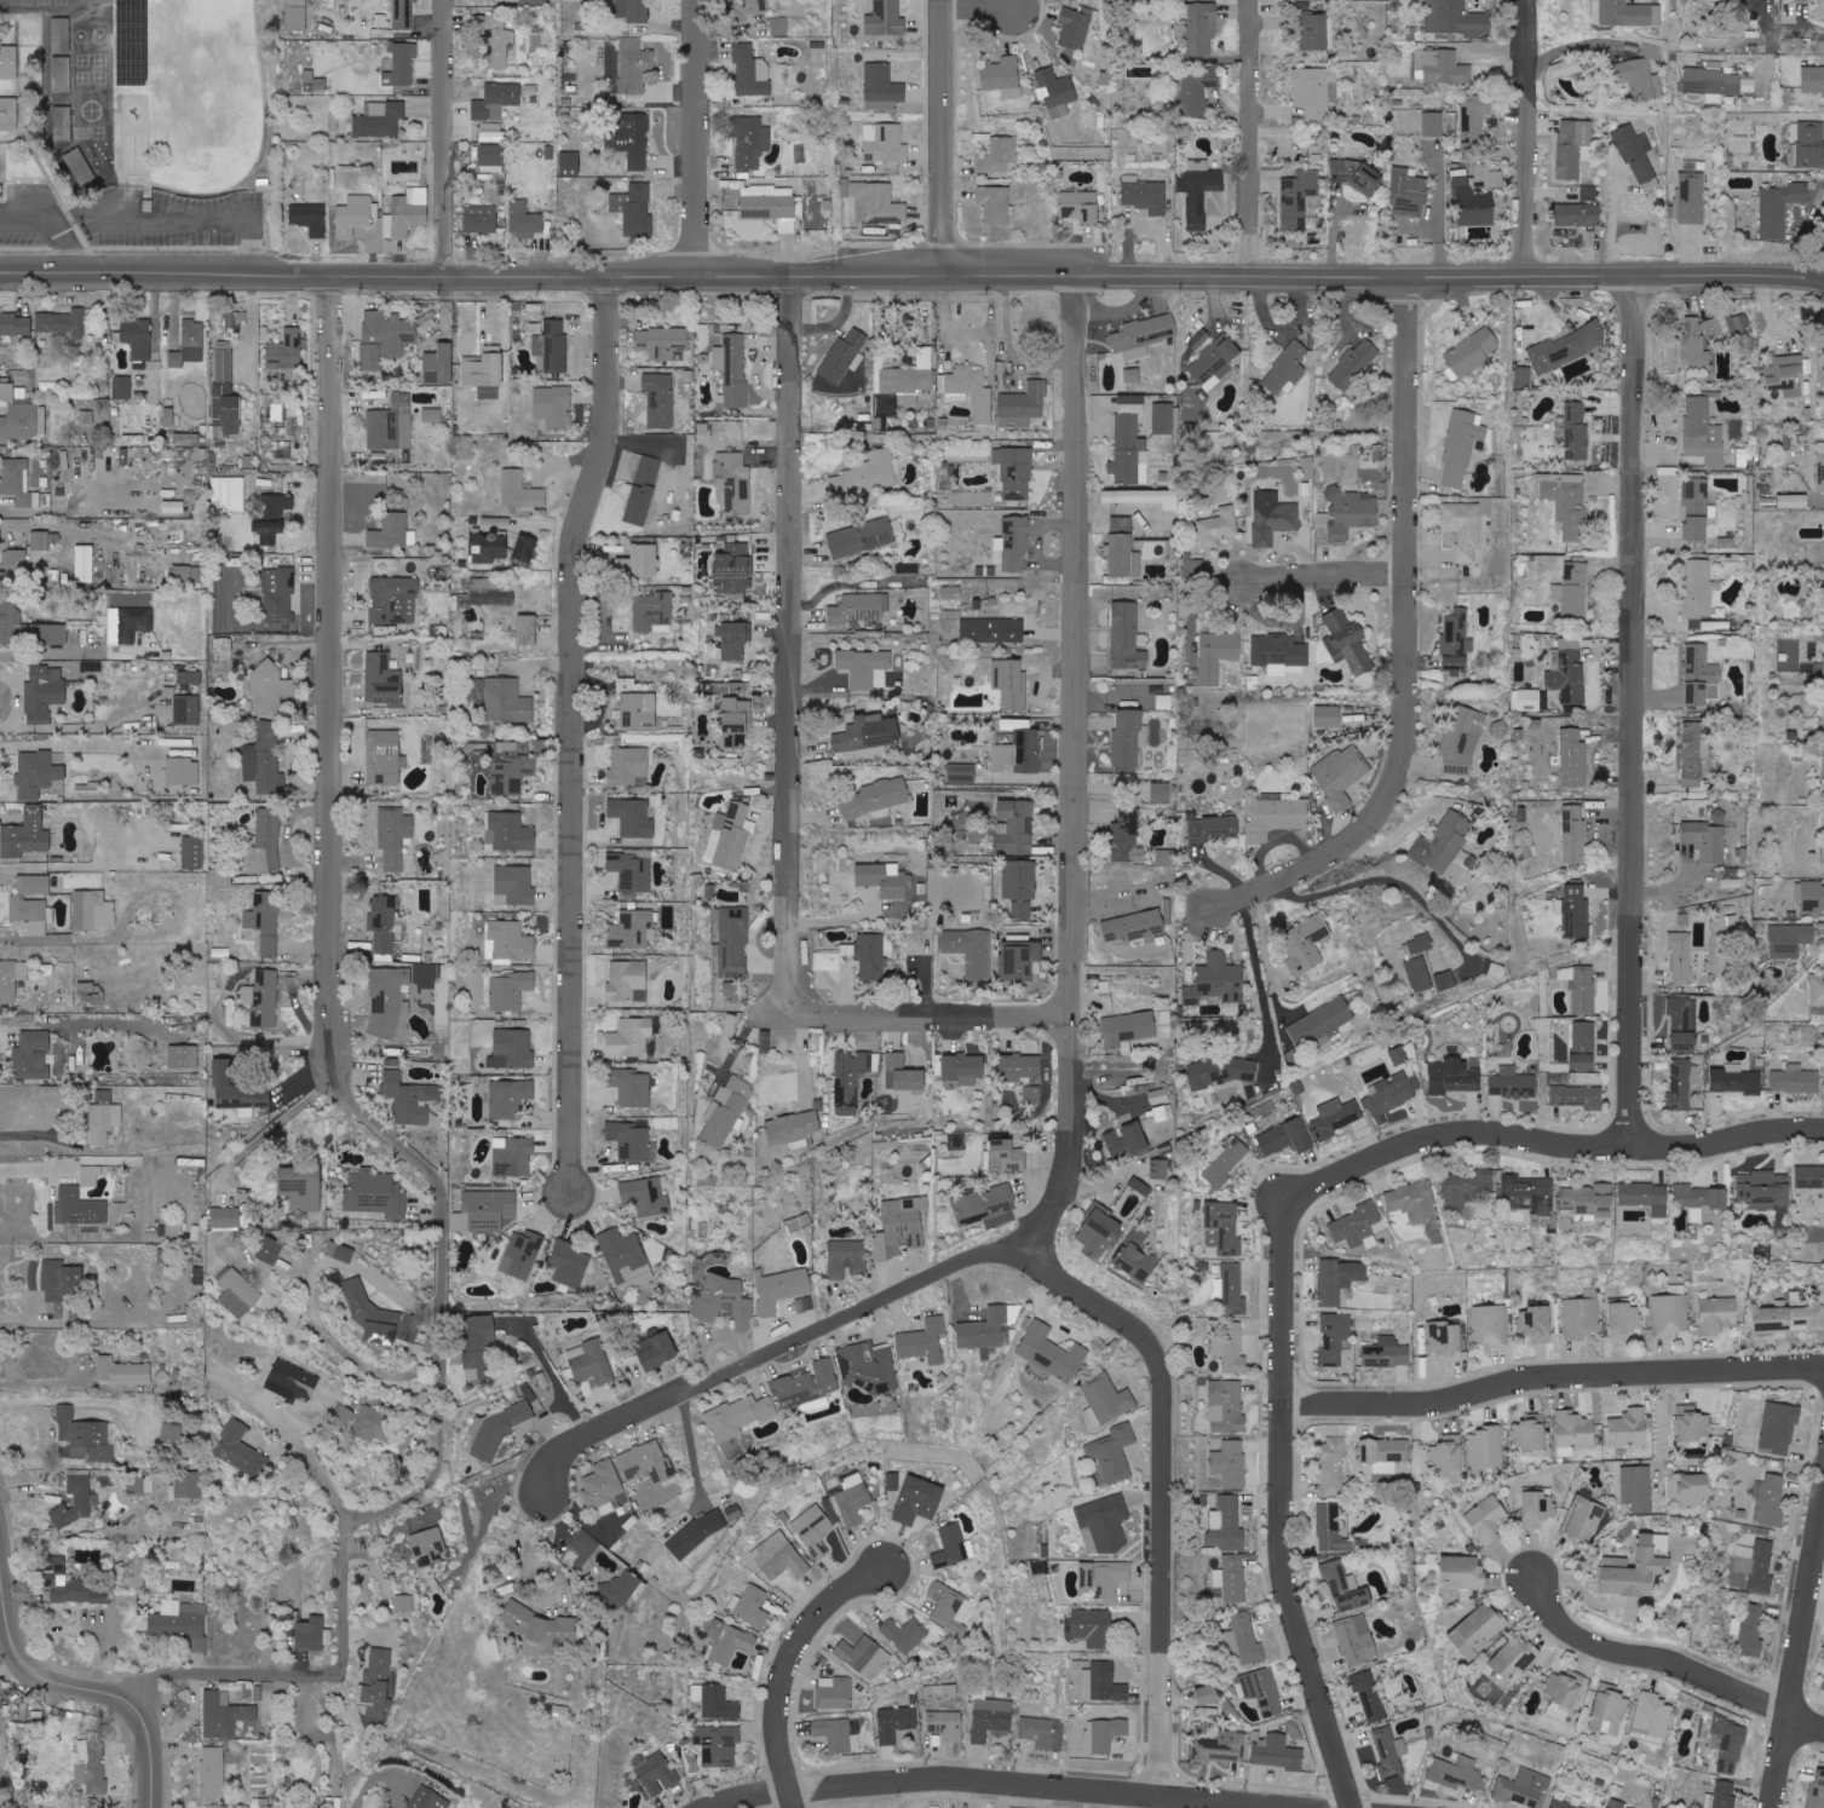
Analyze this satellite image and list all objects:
building: (511, 0)
building: (1737, 0)
building: (1805, 1)
building: (122, 2)
building: (754, 5)
building: (638, 10)
road: (980, 12)
building: (1629, 13)
building: (295, 15)
building: (403, 15)
building: (1455, 18)
building: (381, 21)
building: (886, 21)
building: (1076, 27)
building: (1201, 28)
building: (1314, 30)
building: (62, 34)
road: (1795, 35)
building: (500, 42)
building: (8, 62)
building: (402, 64)
building: (635, 65)
building: (1445, 68)
building: (1565, 68)
building: (749, 71)
building: (62, 75)
building: (1003, 77)
building: (1641, 77)
building: (1813, 80)
building: (1711, 82)
building: (313, 84)
building: (882, 87)
building: (1193, 91)
building: (1316, 91)
building: (1057, 92)
building: (496, 100)
building: (8, 113)
building: (380, 119)
building: (333, 121)
building: (1473, 121)
building: (1433, 123)
building: (63, 125)
road: (448, 137)
road: (692, 137)
road: (948, 137)
road: (1250, 137)
road: (1530, 138)
building: (752, 142)
building: (884, 143)
building: (1809, 143)
building: (1572, 146)
building: (634, 148)
building: (999, 155)
building: (1638, 157)
building: (491, 159)
building: (570, 163)
building: (80, 166)
building: (1354, 174)
building: (1199, 194)
building: (1408, 194)
building: (1145, 195)
building: (1589, 195)
building: (1692, 197)
building: (1297, 198)
building: (632, 202)
building: (876, 203)
building: (1473, 203)
building: (995, 205)
building: (1779, 205)
building: (770, 206)
building: (1081, 206)
building: (407, 213)
road: (178, 215)
building: (355, 215)
building: (1578, 215)
building: (310, 218)
building: (481, 219)
building: (524, 219)
road: (57, 221)
building: (817, 221)
road: (39, 273)
road: (951, 275)
building: (63, 322)
building: (1730, 322)
building: (15, 324)
building: (1713, 329)
building: (393, 335)
building: (1143, 335)
building: (138, 338)
building: (662, 342)
building: (1692, 342)
building: (189, 345)
building: (554, 347)
building: (1567, 349)
building: (1472, 352)
building: (286, 353)
building: (1823, 353)
building: (844, 357)
building: (1215, 362)
building: (439, 364)
building: (1353, 364)
building: (733, 368)
building: (1285, 370)
building: (485, 372)
building: (1786, 376)
building: (1523, 378)
building: (909, 379)
building: (122, 387)
building: (971, 391)
building: (6, 392)
building: (226, 393)
building: (660, 399)
building: (1025, 403)
building: (1133, 403)
building: (553, 407)
building: (432, 415)
building: (168, 416)
building: (86, 418)
building: (1163, 418)
building: (24, 422)
building: (391, 425)
building: (1573, 431)
building: (1703, 434)
building: (186, 437)
building: (1462, 445)
building: (1129, 451)
building: (70, 457)
building: (1820, 467)
building: (1015, 472)
building: (867, 474)
building: (19, 483)
building: (733, 483)
building: (522, 490)
building: (643, 490)
building: (229, 493)
building: (1567, 501)
building: (1794, 501)
building: (277, 506)
building: (1697, 508)
building: (1352, 514)
building: (1273, 517)
building: (1219, 528)
building: (1465, 529)
building: (270, 531)
building: (392, 531)
building: (862, 537)
building: (1013, 543)
building: (40, 546)
building: (490, 546)
building: (527, 548)
building: (1123, 557)
building: (16, 562)
building: (641, 562)
building: (85, 563)
building: (1193, 568)
building: (733, 570)
building: (188, 575)
road: (1323, 581)
building: (1572, 589)
building: (1698, 589)
building: (489, 592)
building: (951, 592)
building: (278, 594)
building: (393, 600)
building: (861, 608)
building: (652, 611)
building: (136, 623)
building: (28, 629)
building: (528, 629)
building: (992, 629)
building: (1457, 633)
building: (1128, 638)
building: (735, 640)
building: (1348, 643)
road: (793, 645)
building: (224, 647)
road: (1408, 650)
road: (59, 655)
building: (1218, 655)
building: (1279, 655)
building: (1456, 664)
building: (867, 668)
building: (1567, 672)
building: (1699, 674)
building: (190, 676)
building: (384, 680)
building: (1011, 683)
building: (269, 687)
building: (44, 692)
building: (1526, 699)
building: (507, 702)
building: (186, 709)
building: (639, 712)
road: (1635, 713)
building: (1328, 716)
building: (736, 724)
building: (869, 732)
road: (575, 737)
building: (1129, 738)
building: (1462, 743)
road: (76, 744)
building: (1019, 753)
building: (1696, 754)
building: (385, 758)
building: (264, 759)
building: (1573, 759)
building: (629, 765)
building: (183, 771)
building: (36, 773)
building: (962, 773)
road: (1082, 773)
building: (1341, 775)
building: (511, 776)
building: (1161, 793)
building: (878, 799)
building: (1276, 816)
building: (633, 817)
building: (1015, 827)
building: (1214, 829)
building: (511, 831)
building: (1571, 834)
building: (395, 836)
building: (1127, 836)
building: (731, 837)
building: (1707, 841)
building: (265, 842)
building: (1444, 843)
building: (192, 853)
building: (632, 871)
building: (220, 876)
road: (1383, 879)
building: (886, 880)
building: (1734, 882)
building: (514, 886)
building: (1020, 886)
building: (1813, 897)
building: (31, 905)
building: (93, 910)
building: (1575, 910)
building: (265, 923)
building: (385, 926)
building: (1133, 927)
building: (633, 929)
building: (1791, 940)
building: (511, 942)
building: (733, 943)
road: (1264, 944)
building: (1421, 944)
building: (1307, 945)
building: (971, 950)
building: (870, 956)
building: (1681, 957)
building: (827, 961)
building: (1022, 961)
building: (589, 969)
building: (1565, 973)
road: (1258, 974)
building: (1420, 974)
building: (11, 977)
building: (1221, 978)
building: (628, 980)
building: (1446, 980)
building: (511, 990)
building: (1583, 990)
building: (1817, 990)
building: (92, 992)
building: (263, 1000)
building: (389, 1000)
road: (326, 1001)
road: (938, 1018)
building: (1320, 1024)
building: (1684, 1025)
building: (1128, 1029)
building: (729, 1031)
building: (629, 1037)
building: (765, 1042)
building: (1583, 1046)
building: (512, 1049)
building: (33, 1055)
building: (1399, 1055)
building: (184, 1056)
building: (963, 1069)
building: (1022, 1070)
building: (1220, 1072)
building: (904, 1075)
building: (1455, 1077)
building: (1795, 1079)
building: (850, 1081)
building: (1738, 1081)
building: (1513, 1084)
building: (1682, 1084)
building: (631, 1087)
building: (238, 1092)
building: (1393, 1094)
building: (1032, 1095)
building: (1158, 1096)
building: (510, 1098)
building: (1578, 1098)
building: (412, 1099)
building: (726, 1112)
building: (103, 1117)
building: (1334, 1118)
road: (272, 1128)
building: (793, 1130)
road: (34, 1135)
building: (1288, 1138)
building: (1127, 1140)
building: (633, 1142)
road: (1554, 1146)
building: (1008, 1155)
building: (513, 1157)
building: (1225, 1164)
road: (36, 1169)
building: (1161, 1169)
building: (90, 1176)
building: (1809, 1176)
building: (303, 1187)
building: (1141, 1187)
building: (1765, 1190)
building: (1532, 1192)
building: (376, 1194)
building: (645, 1197)
building: (1646, 1197)
building: (1412, 1200)
building: (1589, 1200)
building: (1702, 1204)
building: (984, 1205)
building: (80, 1208)
building: (485, 1211)
building: (226, 1217)
building: (1357, 1226)
building: (901, 1227)
building: (1224, 1228)
building: (1101, 1232)
building: (272, 1251)
building: (343, 1253)
building: (522, 1254)
building: (1139, 1255)
building: (626, 1259)
building: (847, 1259)
building: (569, 1265)
building: (1339, 1279)
building: (62, 1280)
building: (779, 1289)
building: (1231, 1289)
building: (238, 1294)
building: (724, 1302)
building: (366, 1313)
building: (1669, 1315)
building: (1717, 1315)
building: (1811, 1317)
building: (1581, 1319)
building: (1626, 1320)
building: (1773, 1320)
building: (1536, 1324)
building: (1490, 1325)
building: (985, 1329)
road: (330, 1338)
building: (1334, 1338)
building: (1445, 1341)
building: (925, 1342)
building: (478, 1346)
building: (658, 1349)
building: (1230, 1349)
building: (1051, 1352)
building: (1387, 1353)
road: (770, 1357)
building: (868, 1366)
building: (122, 1371)
building: (230, 1378)
building: (293, 1380)
road: (40, 1381)
road: (1554, 1381)
building: (809, 1384)
building: (1106, 1400)
building: (1226, 1406)
building: (67, 1410)
building: (738, 1416)
road: (1662, 1416)
building: (373, 1424)
building: (1693, 1426)
building: (1629, 1427)
building: (1779, 1427)
building: (501, 1429)
building: (1532, 1432)
building: (1575, 1432)
building: (172, 1434)
building: (94, 1439)
building: (1486, 1446)
building: (240, 1450)
road: (692, 1451)
building: (1114, 1452)
building: (1385, 1453)
building: (1449, 1453)
building: (646, 1462)
building: (1230, 1463)
building: (1334, 1467)
building: (189, 1485)
building: (140, 1486)
building: (603, 1487)
building: (1638, 1489)
building: (1692, 1489)
building: (853, 1498)
road: (1169, 1498)
building: (919, 1499)
building: (77, 1501)
building: (1772, 1501)
building: (1538, 1505)
road: (1288, 1513)
building: (1488, 1519)
building: (1583, 1519)
building: (1104, 1524)
building: (1226, 1524)
building: (813, 1531)
building: (1334, 1531)
building: (696, 1533)
building: (428, 1547)
building: (954, 1547)
building: (579, 1549)
building: (81, 1555)
building: (781, 1557)
building: (1755, 1565)
building: (1466, 1570)
building: (1636, 1570)
building: (1230, 1578)
building: (1104, 1579)
building: (76, 1585)
building: (625, 1587)
building: (1346, 1589)
building: (404, 1602)
building: (753, 1606)
building: (950, 1608)
building: (179, 1619)
building: (527, 1620)
building: (1093, 1628)
building: (1748, 1628)
building: (564, 1629)
building: (1479, 1630)
building: (313, 1633)
building: (1247, 1640)
building: (1357, 1640)
building: (727, 1642)
road: (1794, 1642)
building: (864, 1657)
building: (1514, 1657)
road: (1670, 1664)
road: (792, 1666)
road: (300, 1675)
building: (378, 1682)
building: (1103, 1682)
road: (64, 1685)
building: (1823, 1685)
building: (1262, 1691)
building: (834, 1692)
building: (1208, 1694)
building: (1564, 1694)
building: (1369, 1695)
road: (328, 1708)
building: (1610, 1709)
building: (225, 1714)
building: (990, 1717)
building: (1650, 1718)
building: (896, 1722)
building: (945, 1724)
road: (322, 1731)
building: (1041, 1733)
building: (838, 1734)
building: (1104, 1734)
building: (719, 1744)
building: (1728, 1744)
building: (1219, 1747)
building: (1389, 1751)
building: (1278, 1754)
building: (92, 1764)
building: (212, 1772)
building: (655, 1774)
building: (1460, 1774)
road: (372, 1781)
road: (997, 1785)
building: (1524, 1789)
building: (1817, 1792)
building: (1725, 1793)
building: (427, 1800)
building: (1565, 1801)
building: (1616, 1806)

